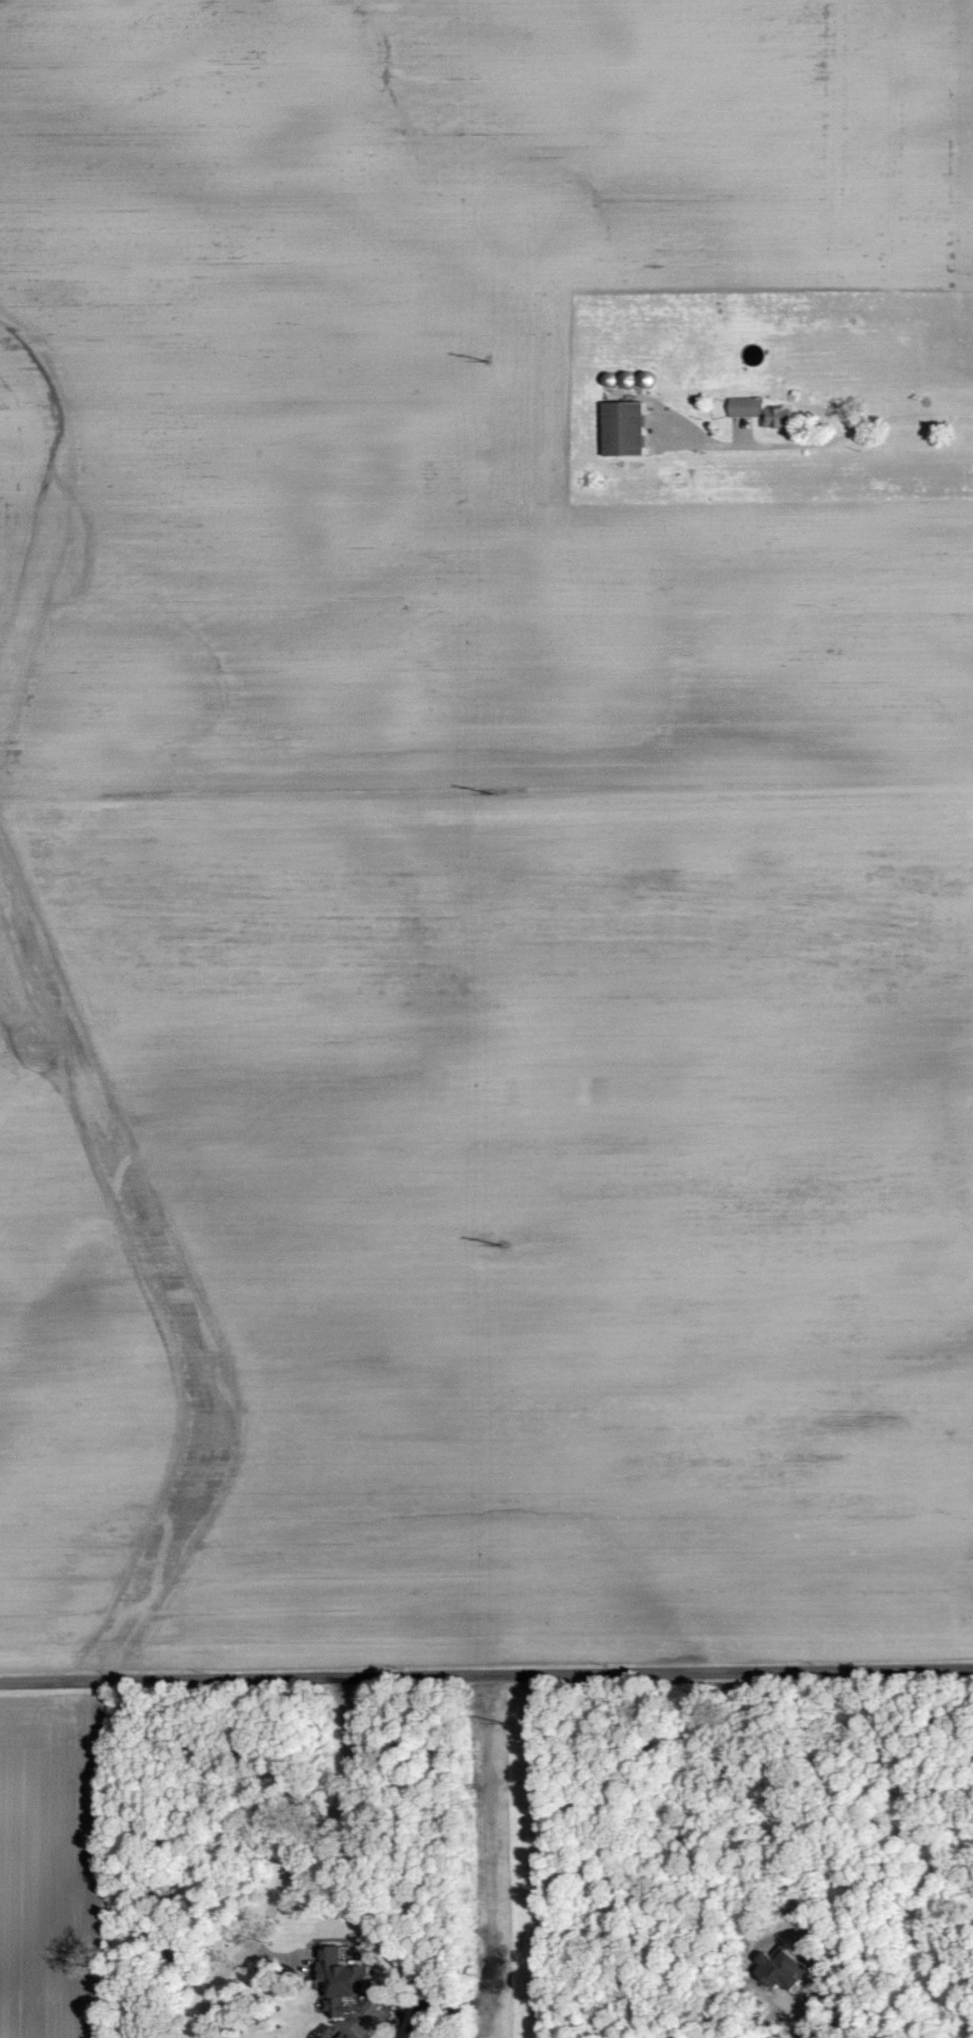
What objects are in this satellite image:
power tower: (489, 360)
building: (630, 379)
building: (649, 379)
building: (612, 380)
crop: (468, 394)
building: (749, 406)
building: (781, 416)
building: (626, 428)
road: (825, 440)
power tower: (494, 791)
crop: (486, 1228)
power tower: (501, 1243)
road: (486, 1676)
power tower: (506, 1721)
road: (291, 1859)
building: (341, 1979)
building: (343, 2035)

